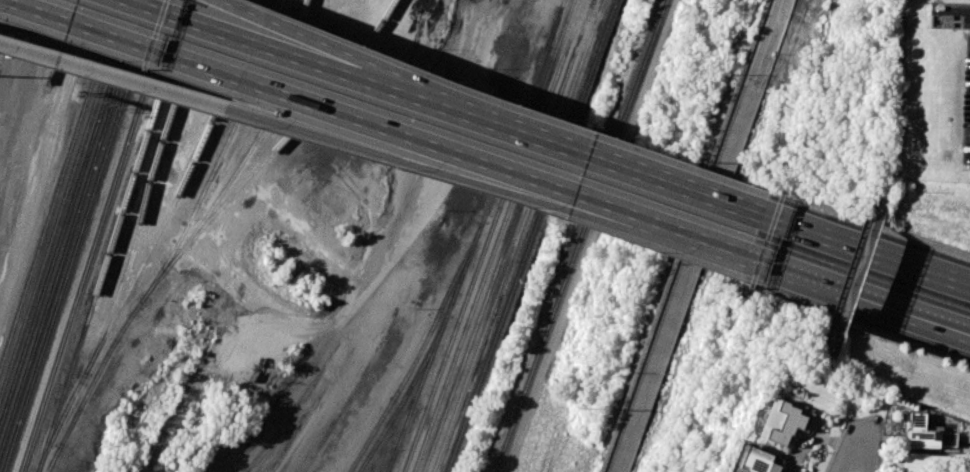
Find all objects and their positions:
road: (262, 29)
road: (217, 31)
railway: (119, 51)
railway: (128, 52)
railway: (136, 53)
road: (896, 93)
road: (288, 96)
parking lot: (967, 99)
park: (824, 106)
railway: (129, 109)
road: (281, 125)
railway: (257, 138)
road: (534, 140)
road: (50, 151)
railway: (223, 153)
railway: (58, 183)
railway: (148, 184)
railway: (63, 197)
railway: (206, 224)
road: (656, 226)
railway: (97, 235)
railway: (489, 235)
railway: (499, 235)
railway: (509, 235)
railway: (518, 235)
railway: (580, 235)
road: (695, 235)
railway: (114, 236)
railway: (476, 236)
railway: (532, 236)
railway: (155, 239)
road: (865, 250)
railway: (51, 263)
road: (858, 272)
railway: (55, 278)
railway: (60, 289)
road: (858, 295)
railway: (420, 352)
park: (745, 376)
railway: (408, 391)
road: (841, 392)
power tower: (577, 409)
building: (785, 420)
building: (927, 434)
road: (875, 440)
road: (848, 451)
railway: (54, 459)
building: (759, 460)
building: (927, 462)

